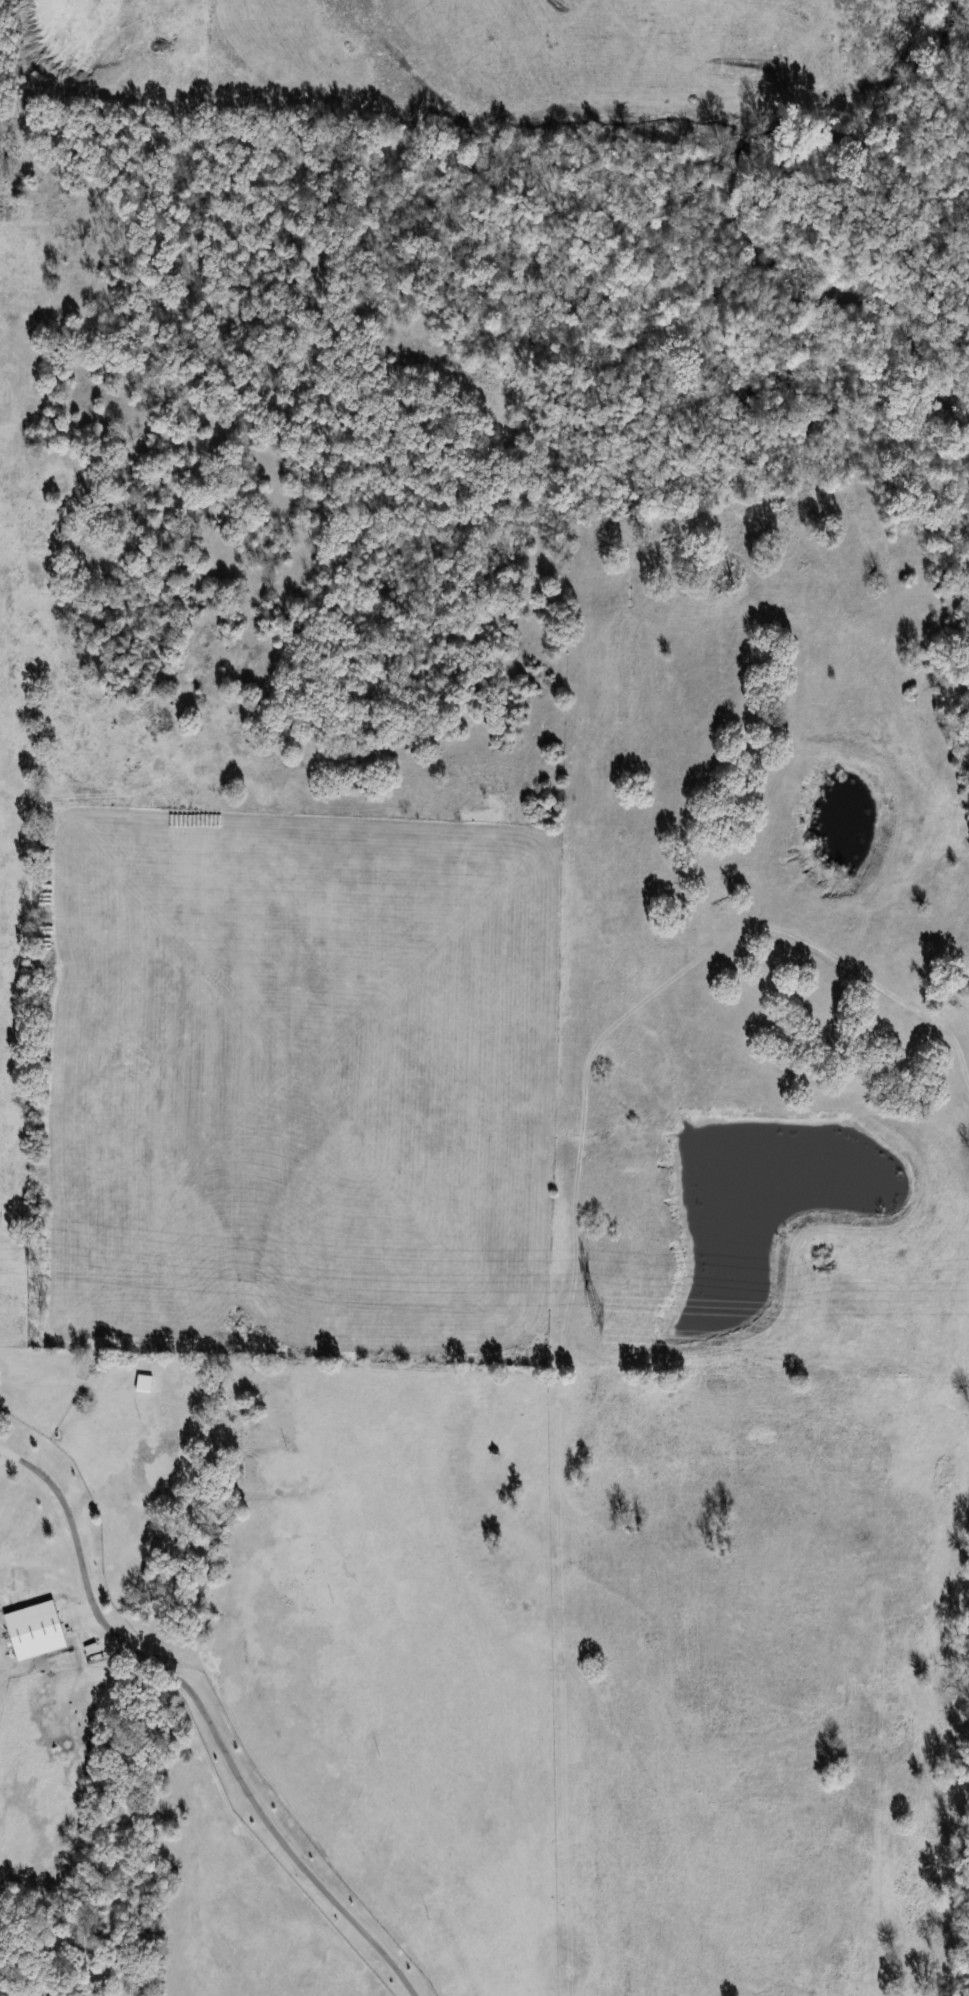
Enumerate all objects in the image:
road: (904, 999)
power tower: (41, 1299)
power tower: (597, 1319)
road: (7, 1451)
road: (8, 1458)
road: (212, 1722)

